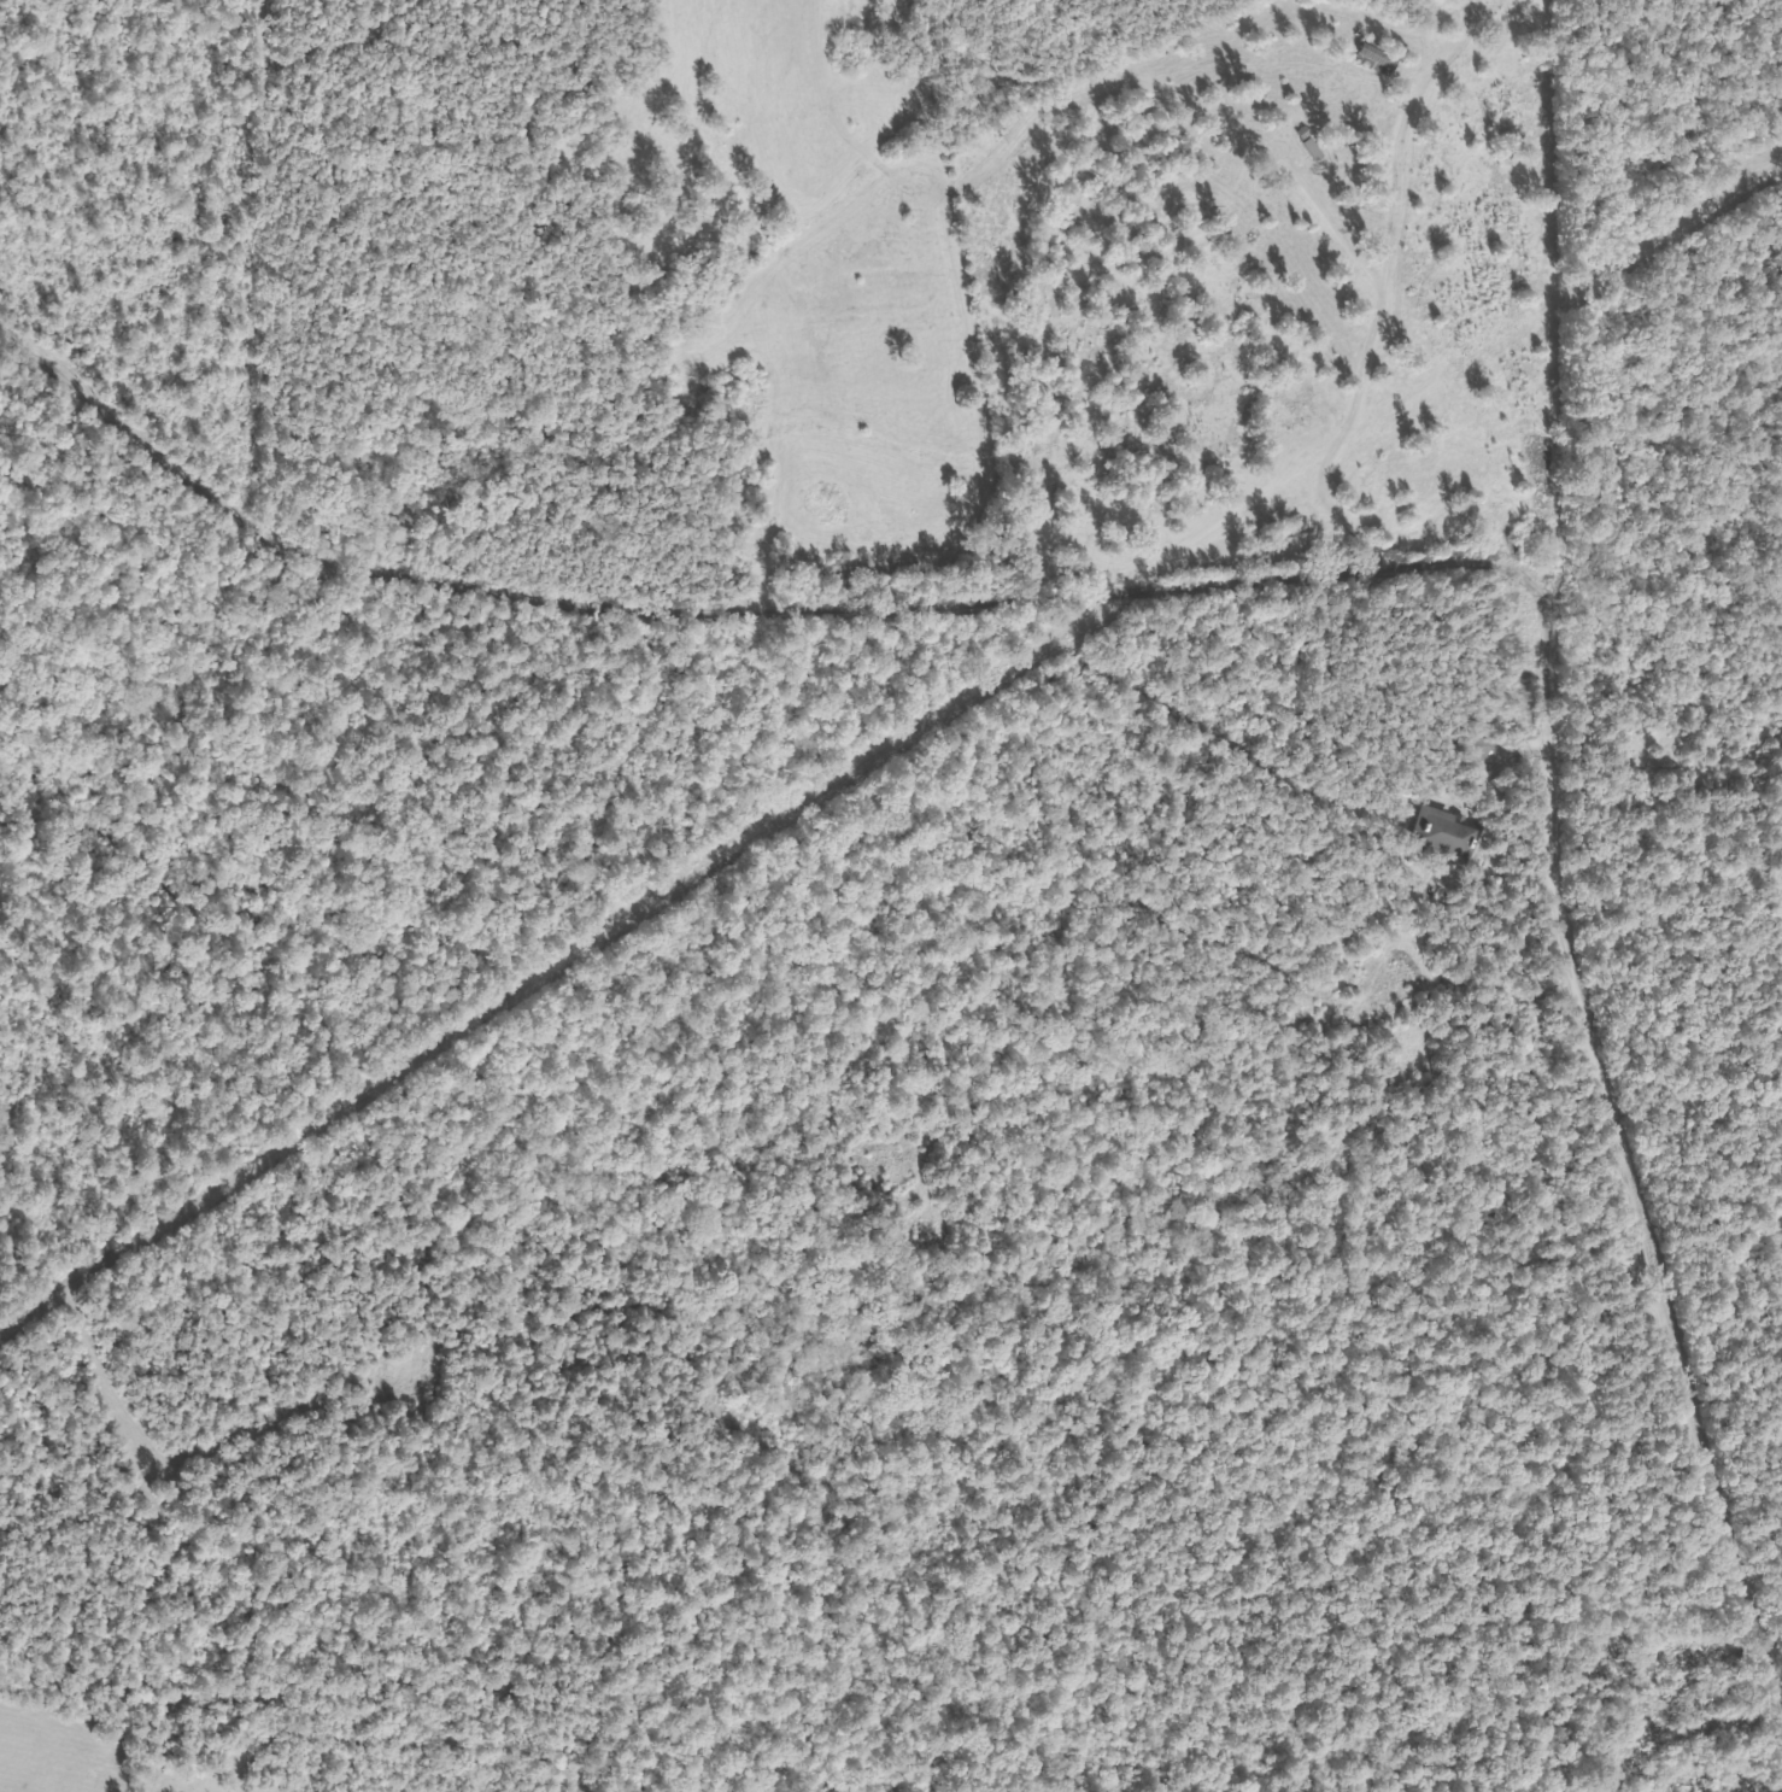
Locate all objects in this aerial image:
building: (1371, 58)
road: (1422, 376)
road: (1336, 595)
building: (1478, 745)
building: (1446, 833)

